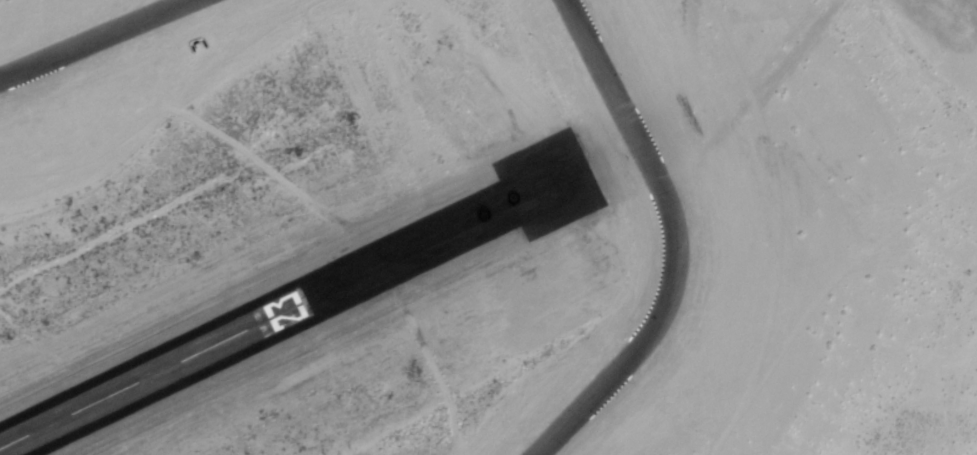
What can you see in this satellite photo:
raceway: (96, 39)
airport runway: (441, 234)
raceway: (675, 240)
airport: (316, 277)
airport runway: (153, 373)

